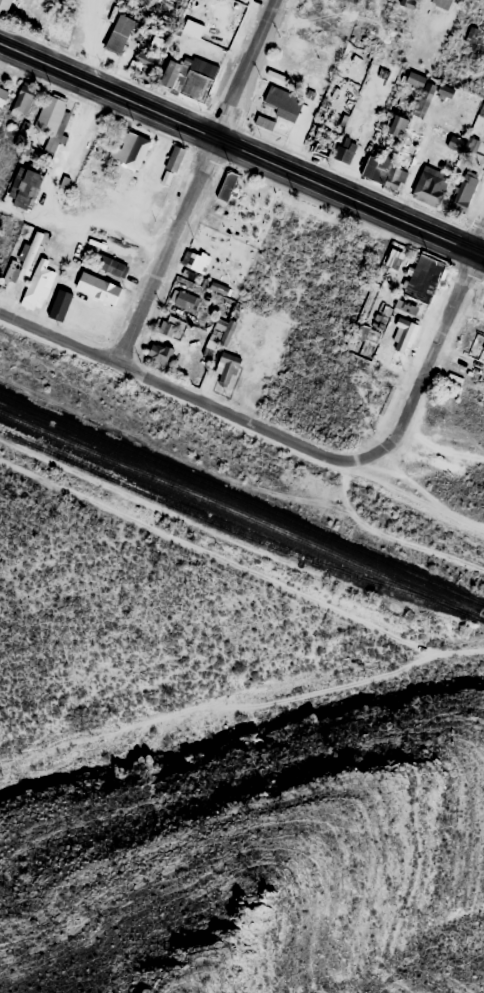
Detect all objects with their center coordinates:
building: (476, 0)
building: (407, 3)
building: (442, 3)
building: (2, 4)
building: (112, 33)
building: (318, 42)
building: (307, 66)
building: (184, 77)
building: (415, 79)
building: (444, 91)
building: (3, 93)
building: (23, 100)
building: (274, 103)
building: (51, 110)
building: (264, 121)
building: (92, 123)
building: (397, 125)
building: (124, 149)
building: (347, 150)
road: (64, 152)
road: (240, 154)
building: (174, 158)
building: (168, 159)
building: (382, 172)
road: (145, 174)
road: (197, 181)
building: (27, 184)
building: (227, 185)
building: (429, 185)
building: (220, 186)
building: (465, 190)
road: (87, 220)
building: (32, 249)
building: (194, 261)
building: (112, 265)
building: (418, 277)
building: (37, 284)
building: (185, 300)
building: (169, 325)
building: (396, 331)
building: (158, 353)
road: (434, 355)
building: (226, 368)
building: (466, 370)
road: (181, 391)
railway: (241, 496)
railway: (238, 513)
railway: (483, 603)
railway: (480, 617)

